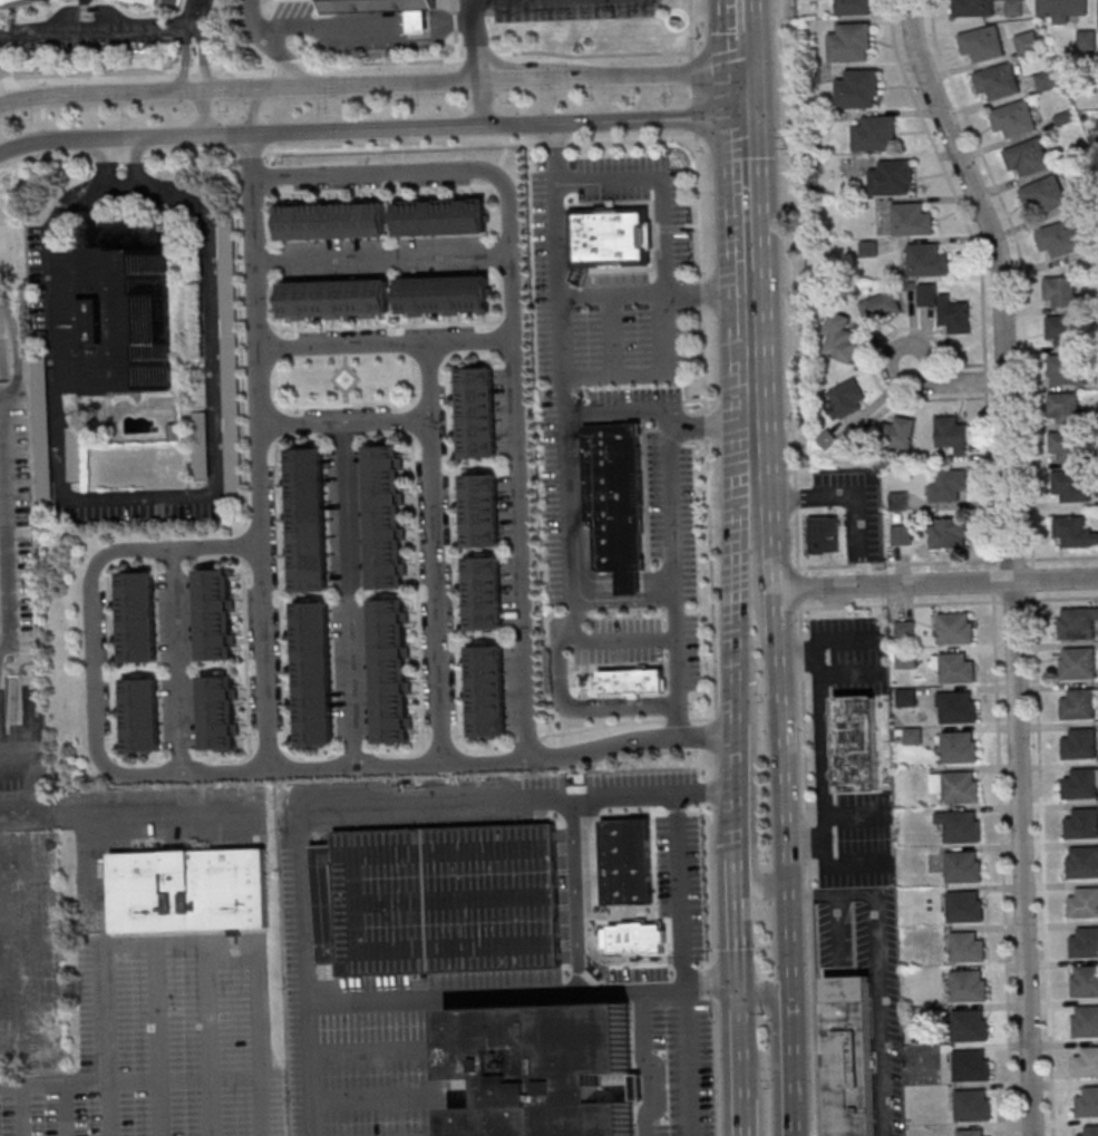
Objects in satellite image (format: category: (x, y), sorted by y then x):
building: (13, 3)
building: (169, 3)
building: (852, 7)
building: (1014, 7)
building: (973, 8)
building: (1061, 9)
building: (418, 23)
road: (362, 27)
road: (110, 28)
road: (691, 29)
road: (736, 35)
road: (472, 42)
building: (851, 42)
building: (980, 43)
building: (1027, 43)
road: (269, 46)
road: (197, 57)
road: (346, 62)
traffic signals: (737, 70)
road: (41, 79)
building: (1047, 80)
building: (997, 81)
road: (368, 86)
building: (858, 88)
road: (737, 90)
road: (41, 93)
road: (480, 106)
traffic signals: (738, 110)
road: (254, 111)
road: (202, 114)
road: (42, 117)
building: (1012, 118)
road: (368, 132)
building: (875, 133)
road: (42, 142)
road: (43, 156)
building: (1027, 157)
road: (90, 158)
road: (459, 168)
road: (739, 175)
building: (892, 177)
road: (662, 183)
building: (1042, 195)
building: (443, 215)
building: (333, 220)
building: (911, 220)
building: (610, 235)
building: (1059, 237)
road: (382, 252)
building: (926, 260)
road: (742, 269)
road: (1020, 271)
road: (979, 272)
road: (1001, 282)
building: (1061, 292)
road: (566, 294)
building: (445, 295)
building: (336, 299)
building: (881, 307)
building: (946, 309)
road: (744, 314)
building: (133, 320)
road: (667, 329)
building: (1065, 331)
road: (613, 333)
building: (840, 337)
road: (385, 341)
road: (916, 346)
road: (13, 347)
road: (563, 353)
building: (1068, 369)
building: (846, 398)
building: (1065, 409)
building: (477, 412)
road: (346, 423)
building: (900, 433)
building: (952, 433)
building: (827, 439)
building: (42, 446)
building: (1068, 447)
road: (261, 452)
building: (75, 454)
building: (202, 469)
building: (948, 484)
building: (1072, 486)
building: (613, 498)
road: (145, 501)
building: (898, 501)
building: (482, 511)
building: (386, 516)
building: (308, 521)
road: (737, 526)
road: (570, 527)
building: (1073, 532)
road: (673, 533)
building: (948, 533)
building: (824, 534)
building: (902, 534)
road: (517, 546)
road: (435, 550)
road: (1063, 557)
road: (1010, 560)
road: (796, 567)
road: (4, 573)
road: (90, 574)
road: (935, 584)
road: (350, 593)
building: (484, 593)
road: (948, 603)
building: (216, 614)
building: (138, 618)
building: (1077, 623)
building: (953, 629)
building: (903, 631)
road: (178, 657)
building: (905, 659)
building: (1077, 663)
road: (776, 669)
building: (954, 669)
building: (392, 670)
building: (313, 676)
building: (631, 682)
building: (487, 691)
building: (904, 697)
building: (1078, 703)
building: (956, 708)
road: (575, 710)
building: (220, 712)
building: (142, 715)
building: (911, 736)
building: (857, 744)
building: (1079, 745)
building: (958, 748)
road: (417, 760)
building: (1080, 784)
road: (738, 785)
building: (960, 788)
road: (708, 790)
road: (483, 796)
building: (1081, 824)
building: (960, 827)
road: (1021, 857)
building: (1082, 863)
road: (740, 864)
building: (961, 867)
building: (188, 890)
road: (760, 891)
road: (823, 895)
building: (482, 899)
parking garage: (482, 899)
building: (1084, 903)
building: (963, 906)
road: (741, 941)
building: (1084, 943)
building: (965, 948)
road: (90, 958)
road: (253, 961)
building: (1084, 982)
building: (965, 987)
road: (765, 994)
road: (460, 997)
traffic signals: (742, 1003)
road: (877, 1013)
building: (1085, 1021)
building: (966, 1026)
road: (742, 1033)
road: (373, 1054)
building: (849, 1056)
road: (687, 1061)
building: (1086, 1064)
building: (969, 1066)
road: (436, 1067)
building: (541, 1068)
road: (788, 1071)
road: (178, 1080)
road: (375, 1097)
road: (744, 1100)
building: (1087, 1104)
building: (970, 1106)
road: (210, 1107)
road: (161, 1108)
road: (109, 1110)
road: (66, 1111)
road: (22, 1113)
building: (1090, 1130)
building: (969, 1133)

